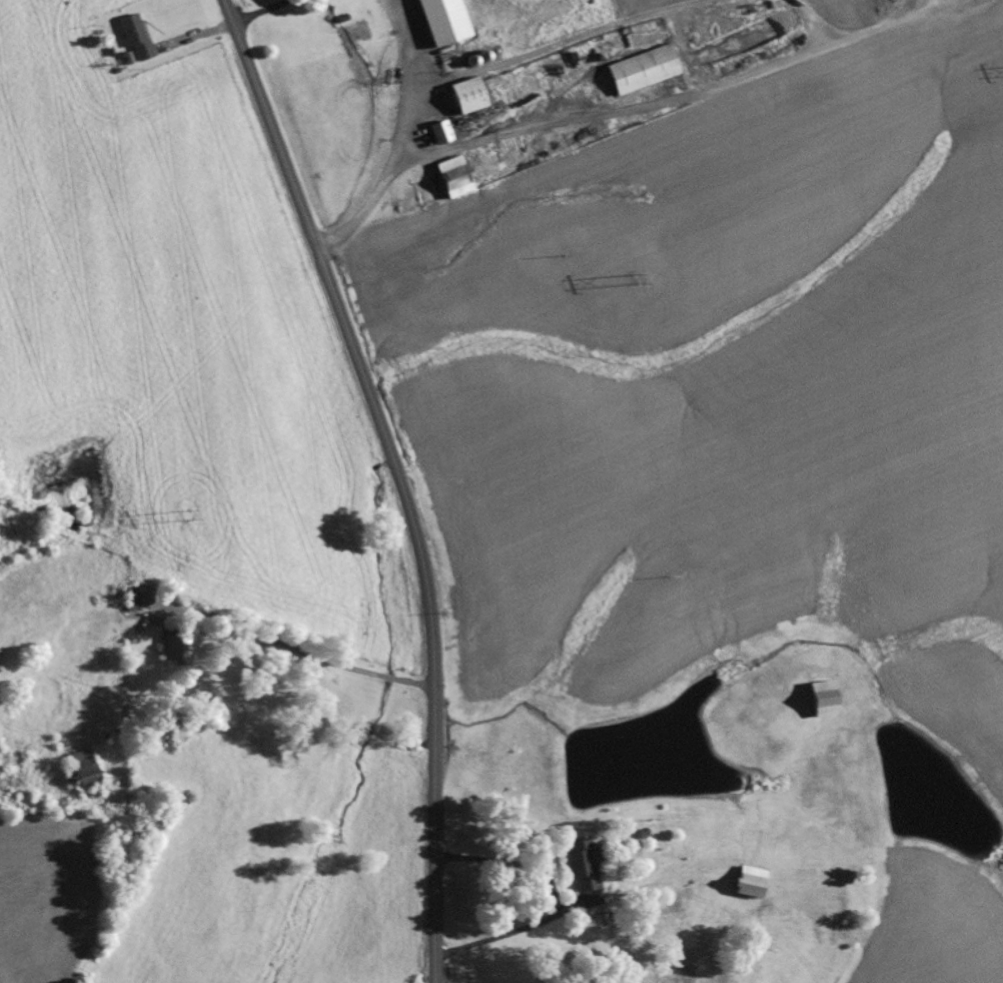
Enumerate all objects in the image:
building: (438, 20)
building: (134, 38)
building: (643, 66)
building: (469, 93)
building: (440, 131)
building: (448, 178)
road: (398, 478)
road: (296, 532)
building: (143, 601)
building: (172, 650)
building: (817, 700)
building: (79, 776)
building: (580, 866)
building: (745, 883)

